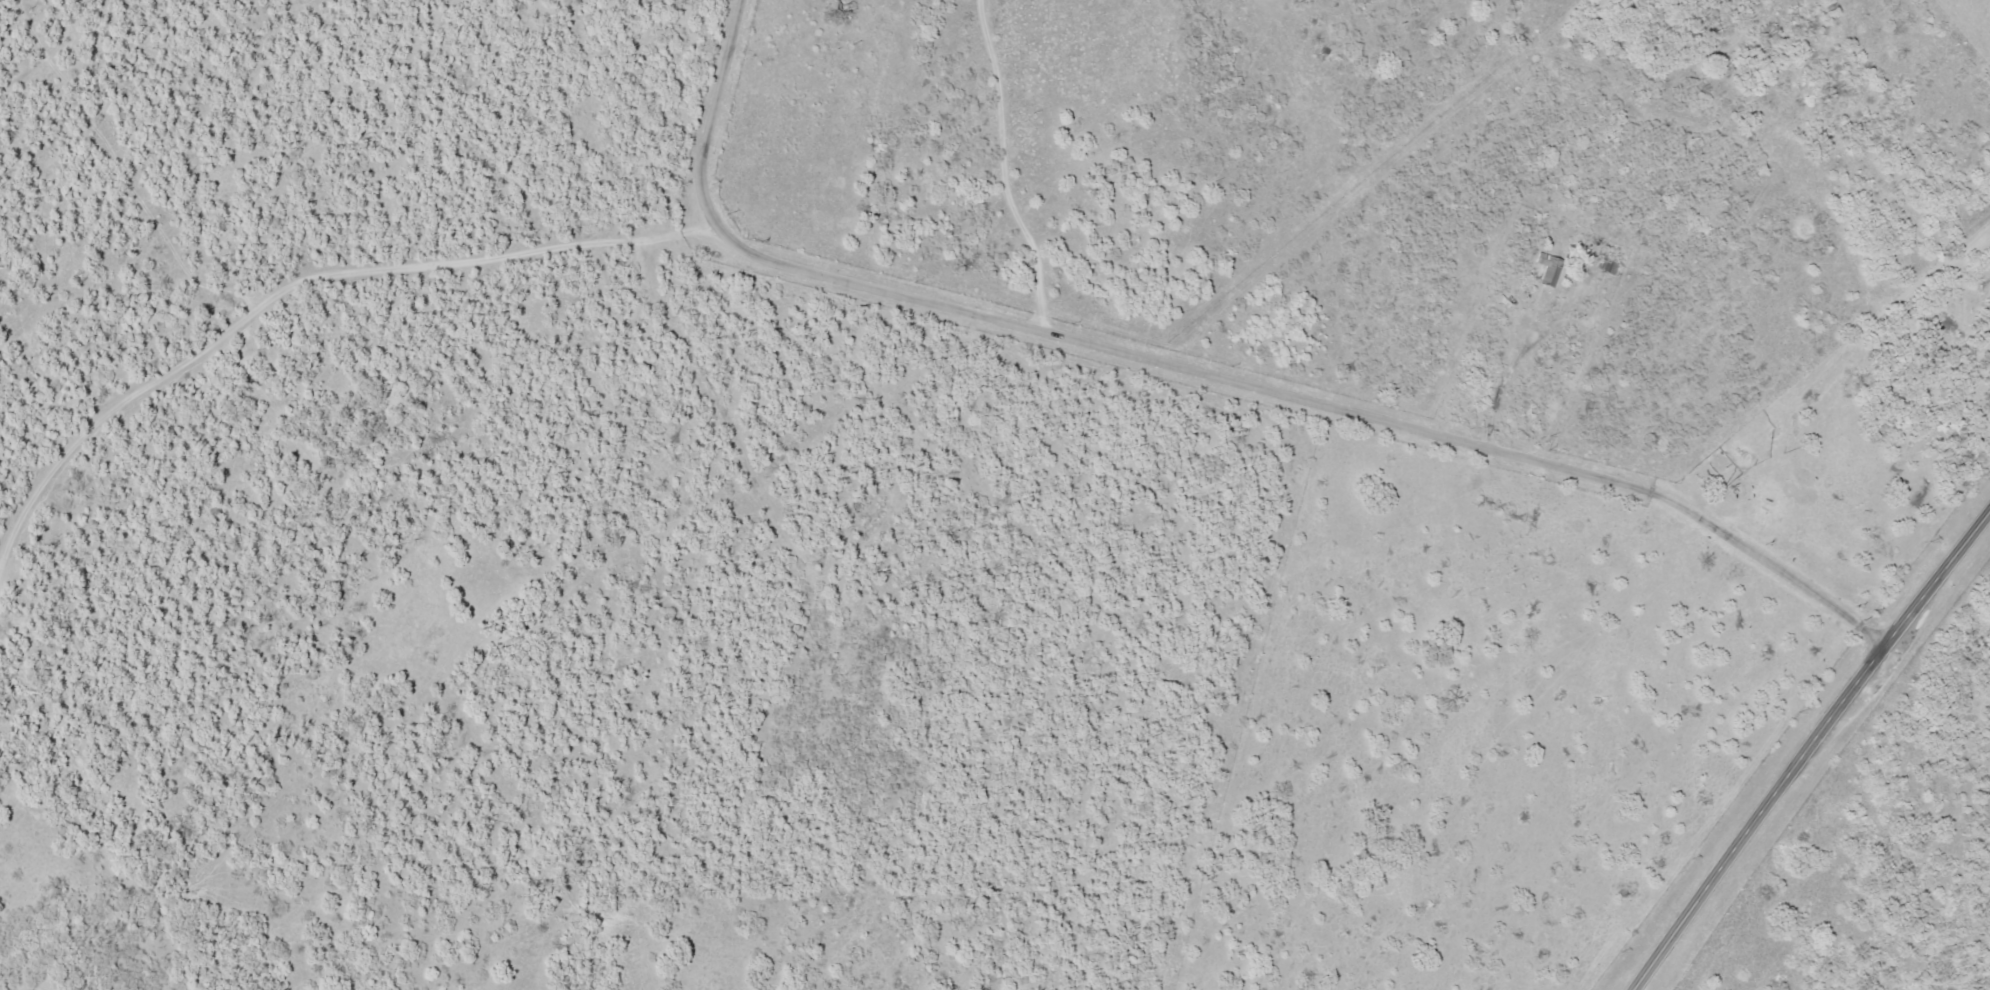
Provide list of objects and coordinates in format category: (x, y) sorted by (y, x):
building: (814, 46)
building: (826, 51)
building: (1607, 265)
building: (1548, 268)
road: (302, 285)
road: (1509, 372)
road: (1202, 376)
road: (1811, 749)
power plant: (1884, 850)

